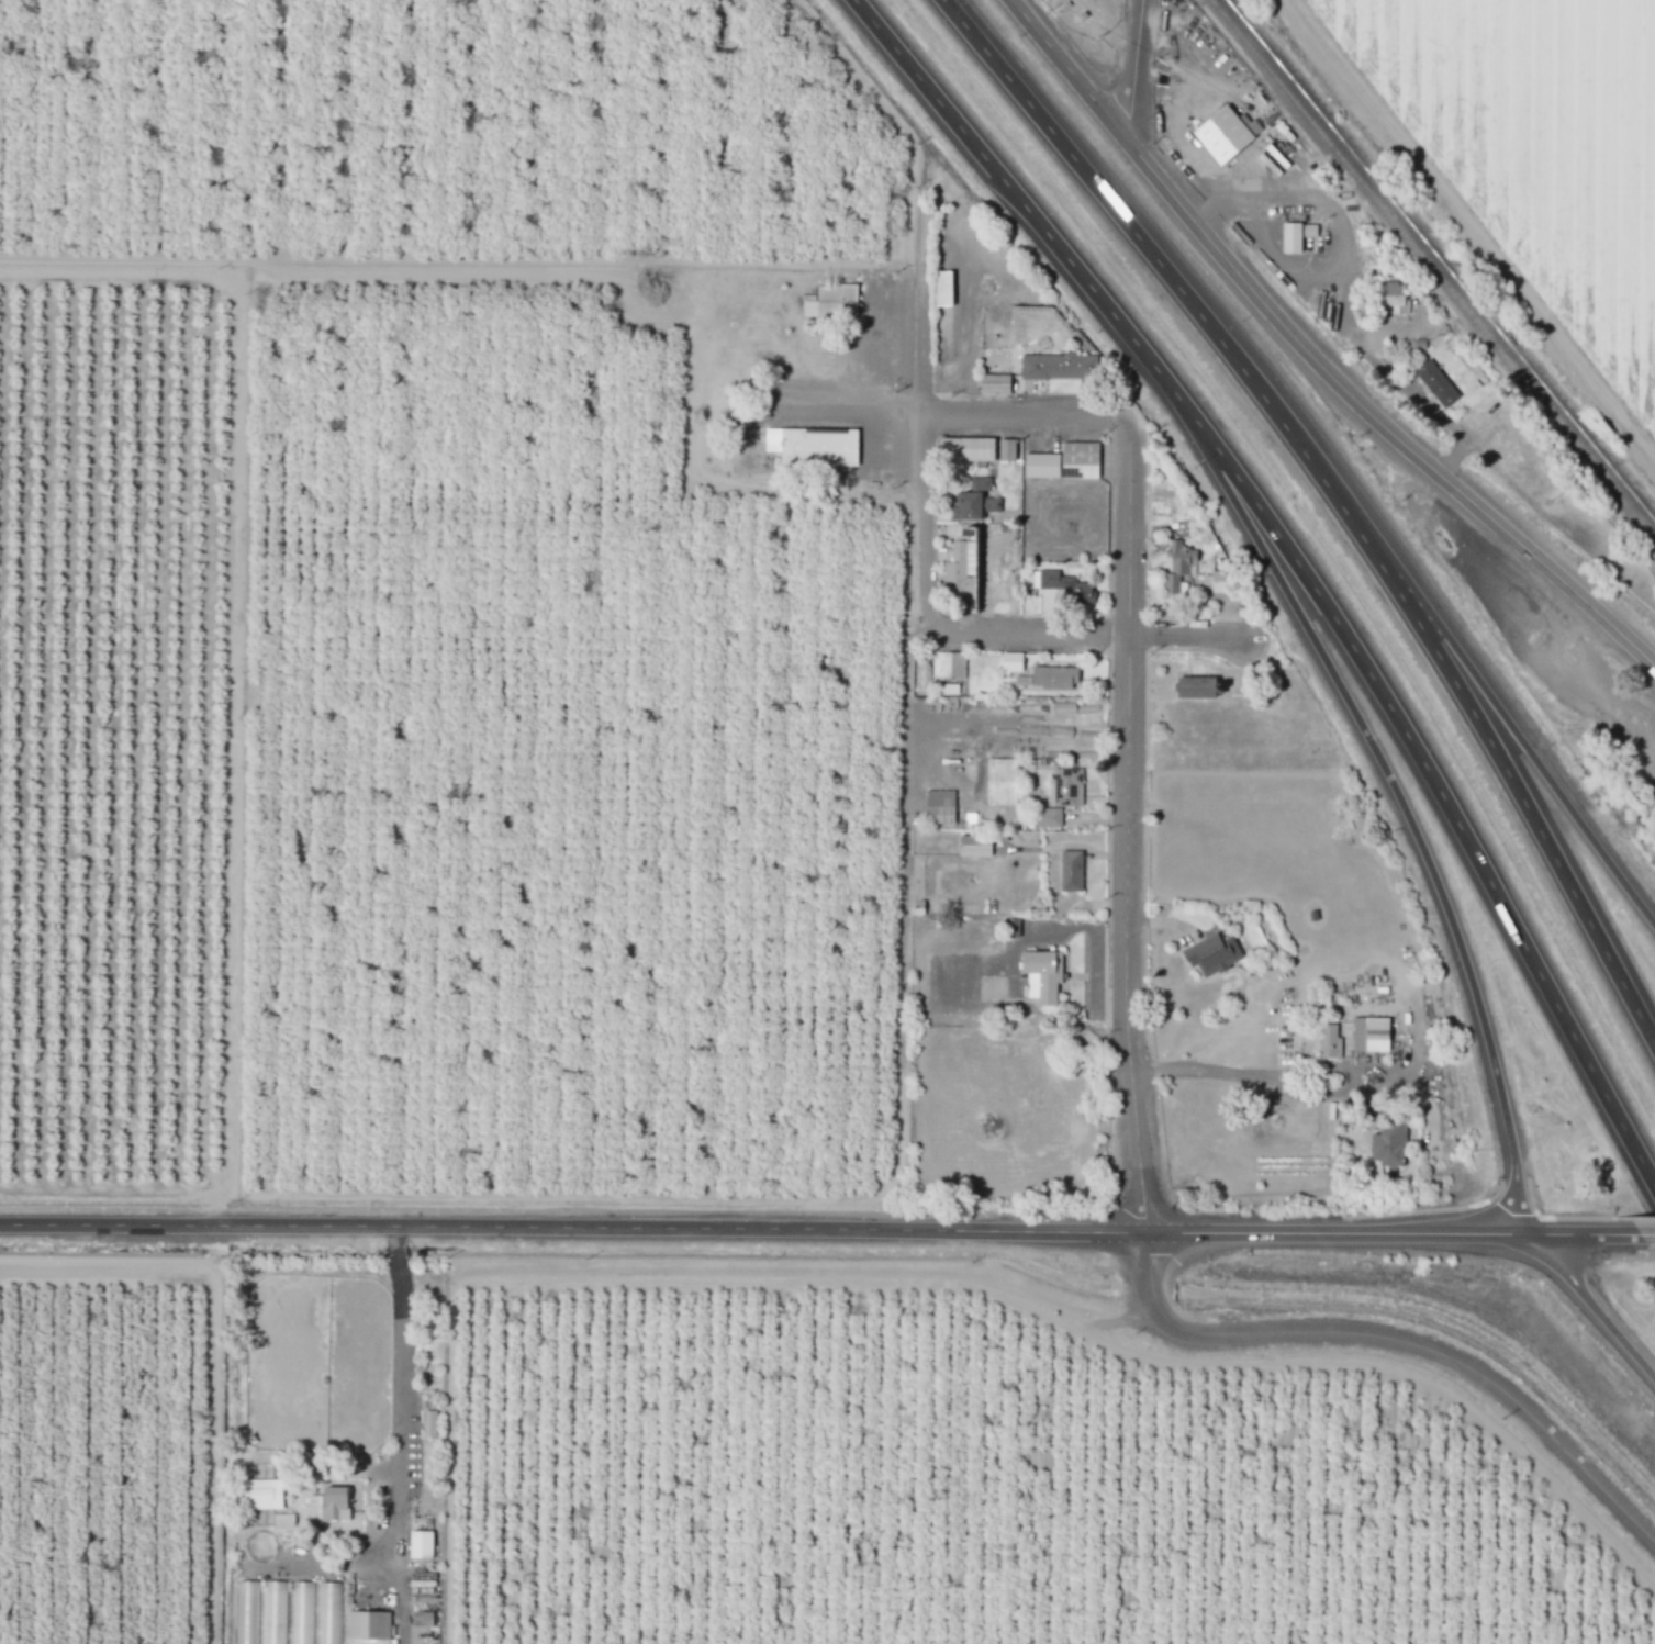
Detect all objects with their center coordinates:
road: (1130, 70)
building: (1227, 135)
building: (1295, 239)
railway: (1432, 266)
building: (834, 301)
building: (1400, 301)
road: (1355, 326)
road: (1306, 357)
building: (1060, 367)
building: (1440, 384)
road: (858, 389)
road: (1029, 418)
building: (814, 446)
building: (979, 450)
road: (930, 472)
road: (1333, 495)
building: (973, 500)
building: (1176, 556)
road: (1302, 561)
building: (1065, 586)
road: (1084, 631)
building: (1014, 662)
building: (948, 664)
building: (1059, 679)
road: (1495, 691)
building: (1004, 782)
building: (940, 807)
road: (1406, 808)
building: (1048, 817)
road: (1133, 828)
building: (976, 846)
road: (1067, 847)
building: (1072, 871)
building: (1215, 955)
building: (1043, 977)
building: (1373, 1035)
building: (1331, 1041)
road: (1310, 1093)
building: (1383, 1143)
road: (1651, 1228)
road: (823, 1230)
road: (1597, 1299)
road: (1399, 1345)
building: (430, 1416)
road: (398, 1435)
building: (269, 1502)
building: (424, 1544)
building: (246, 1612)
building: (286, 1613)
building: (327, 1613)

